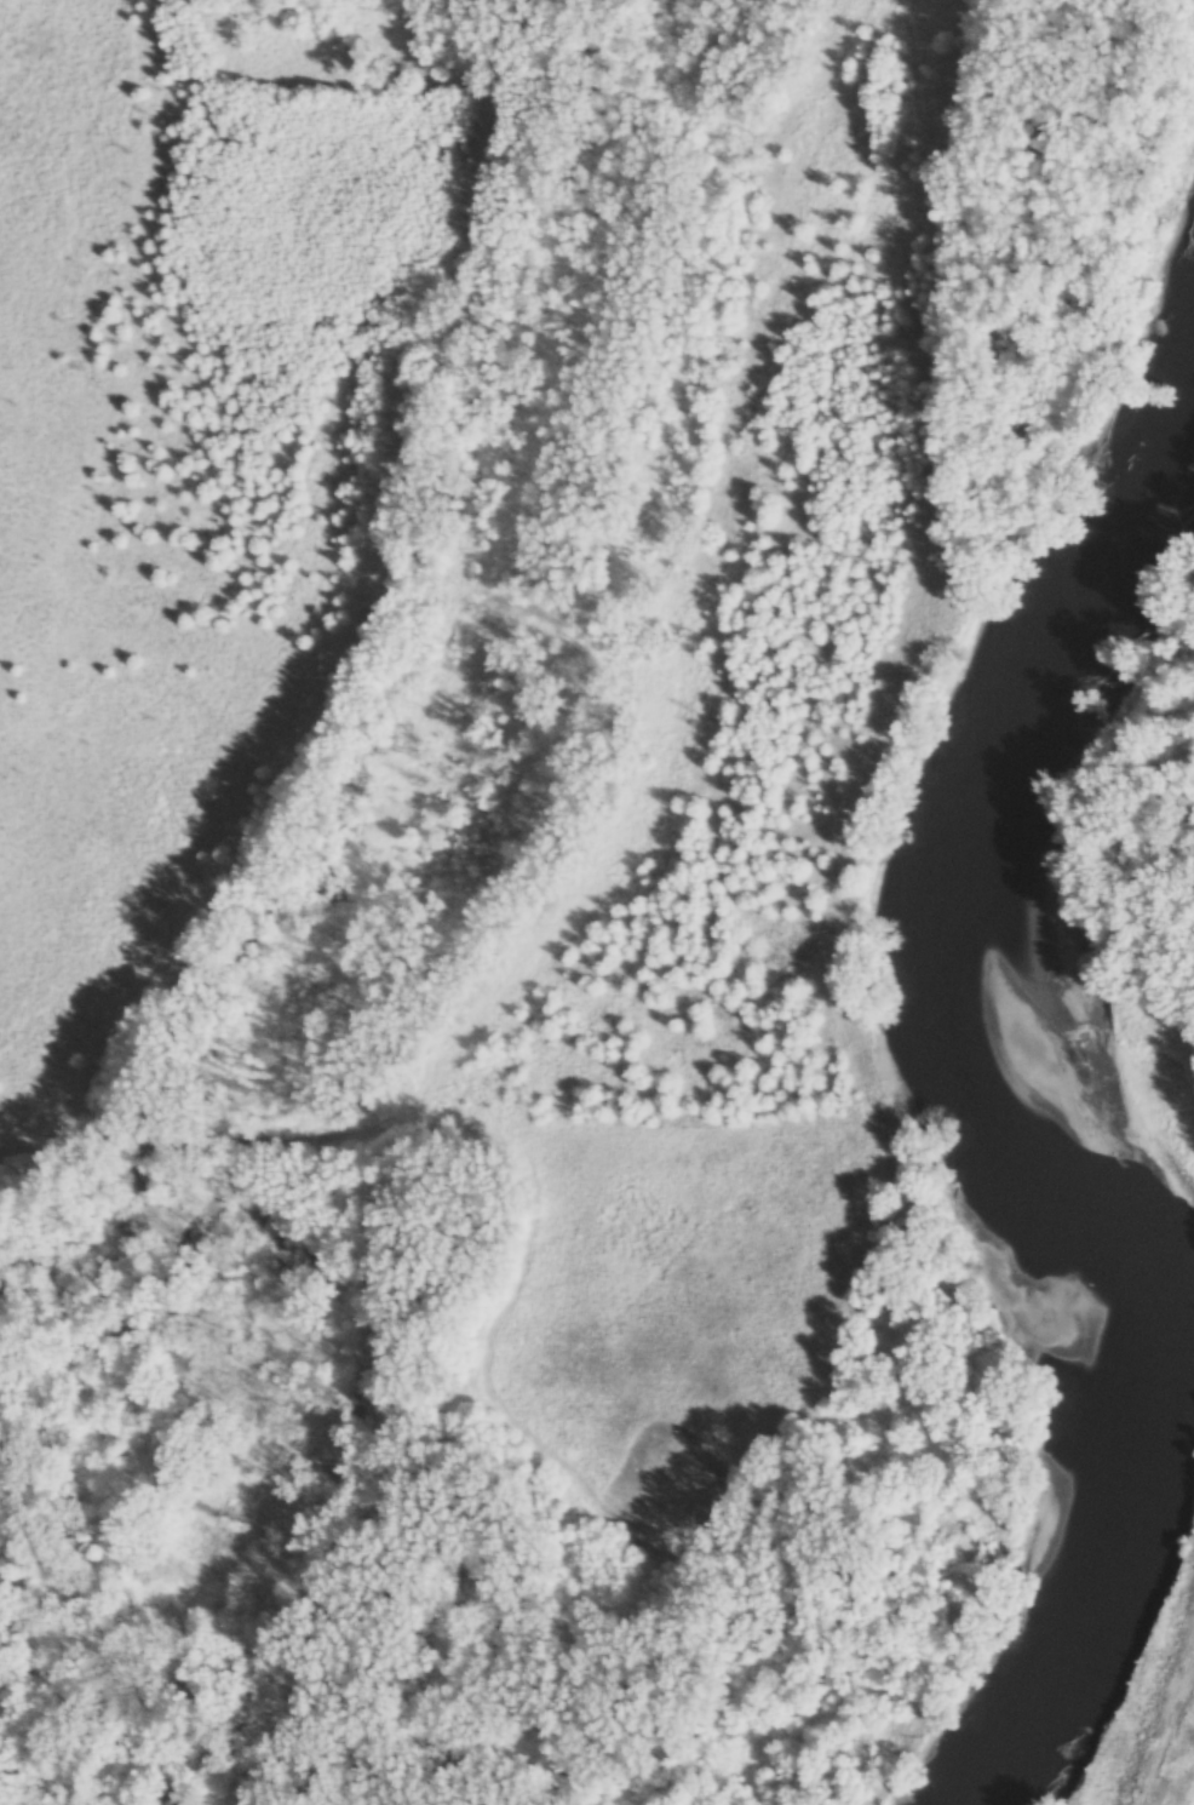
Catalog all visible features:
river: (1020, 1105)

